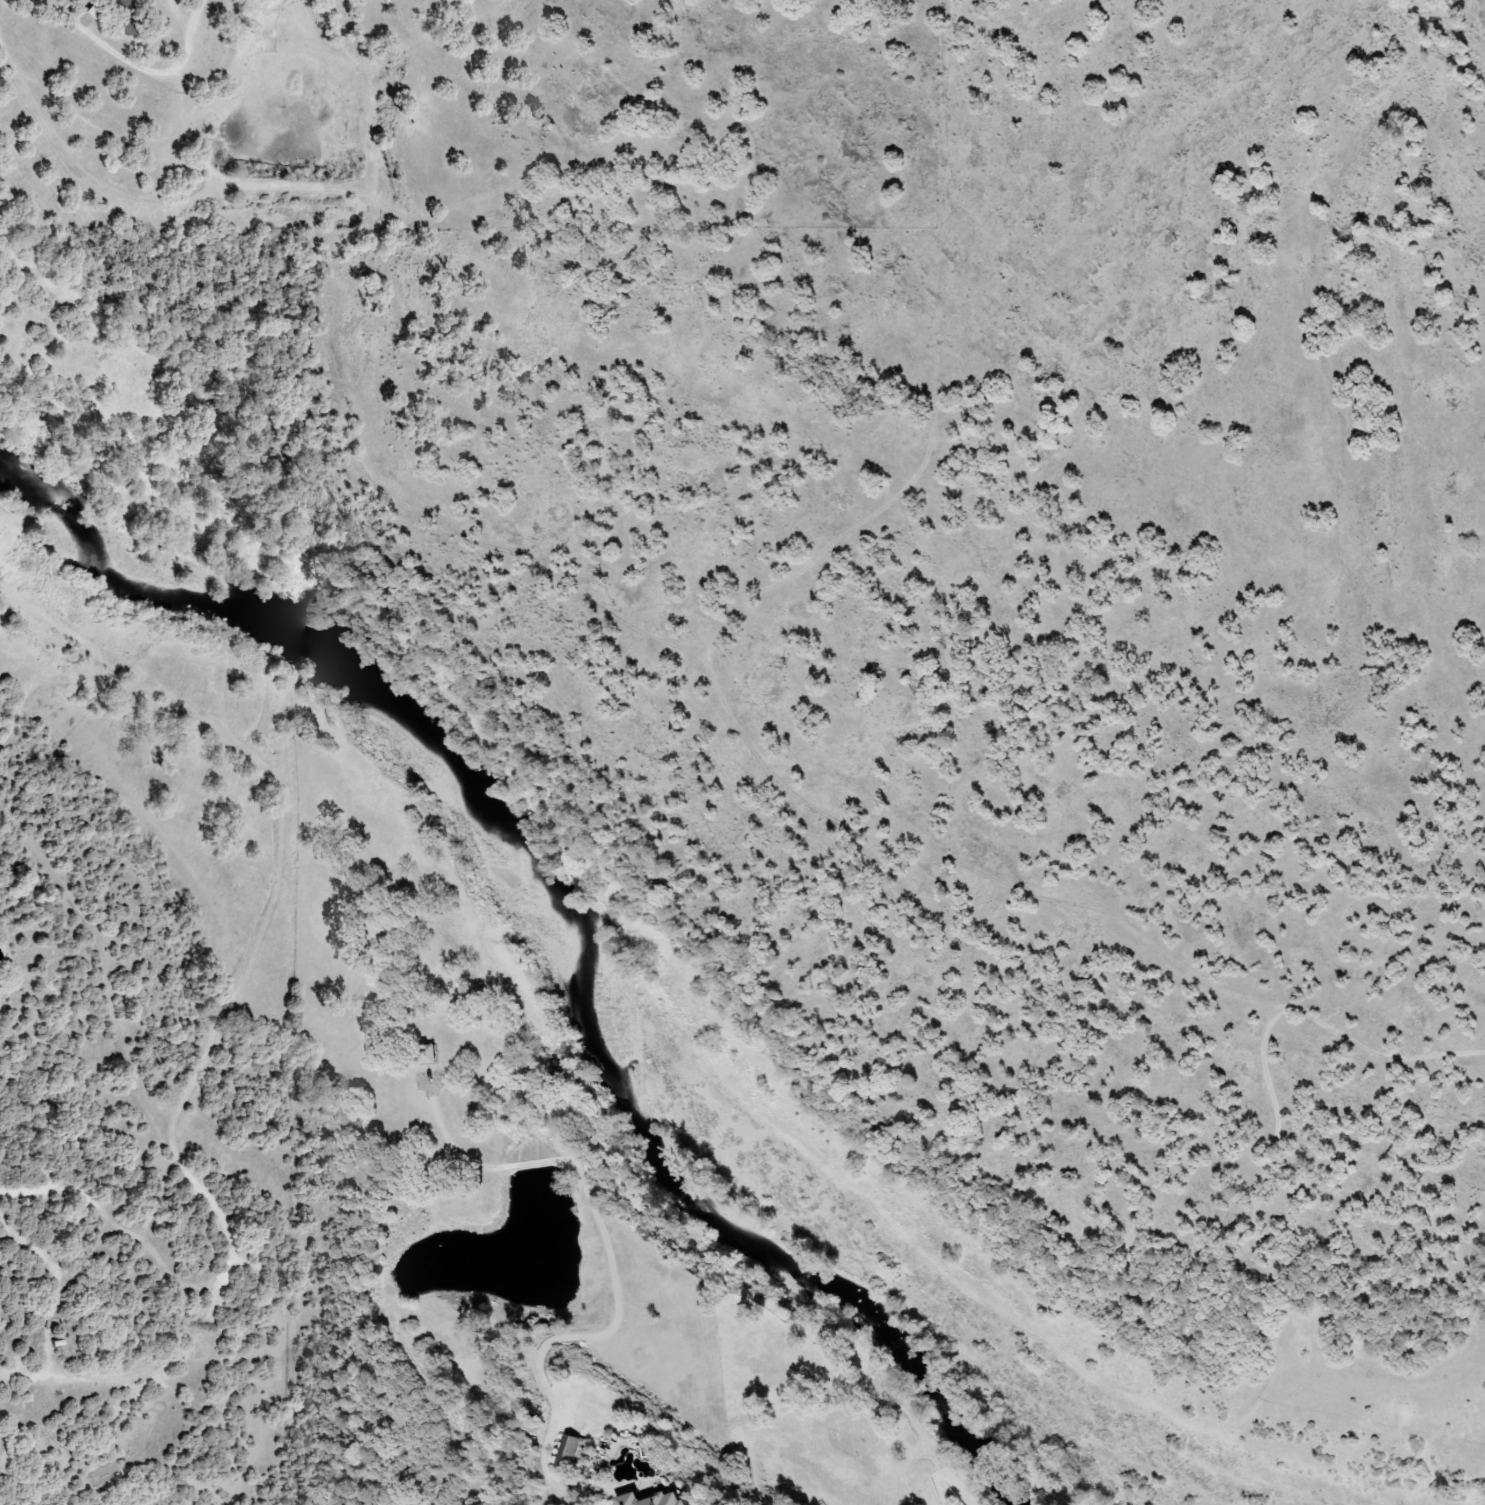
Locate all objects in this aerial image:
river: (581, 921)
building: (424, 1055)
road: (612, 1263)
building: (567, 1453)
building: (649, 1500)

